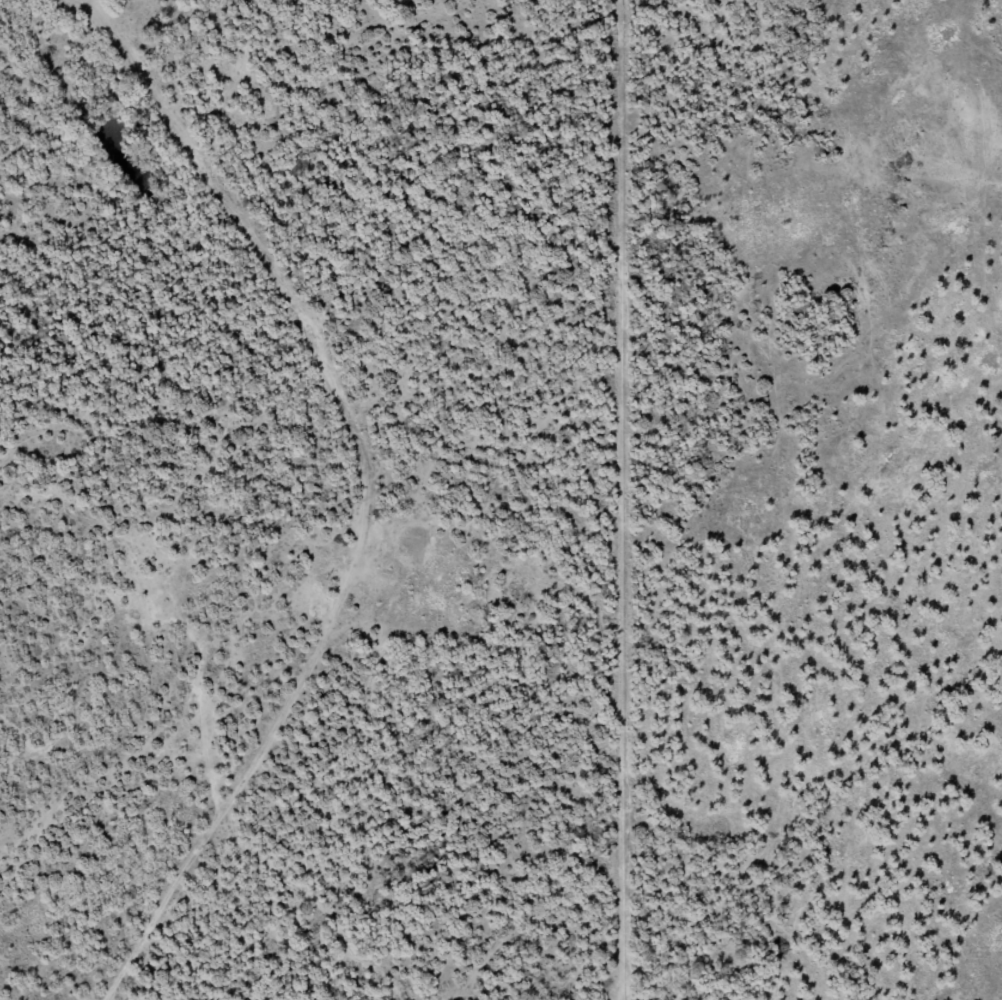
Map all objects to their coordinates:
road: (336, 485)

